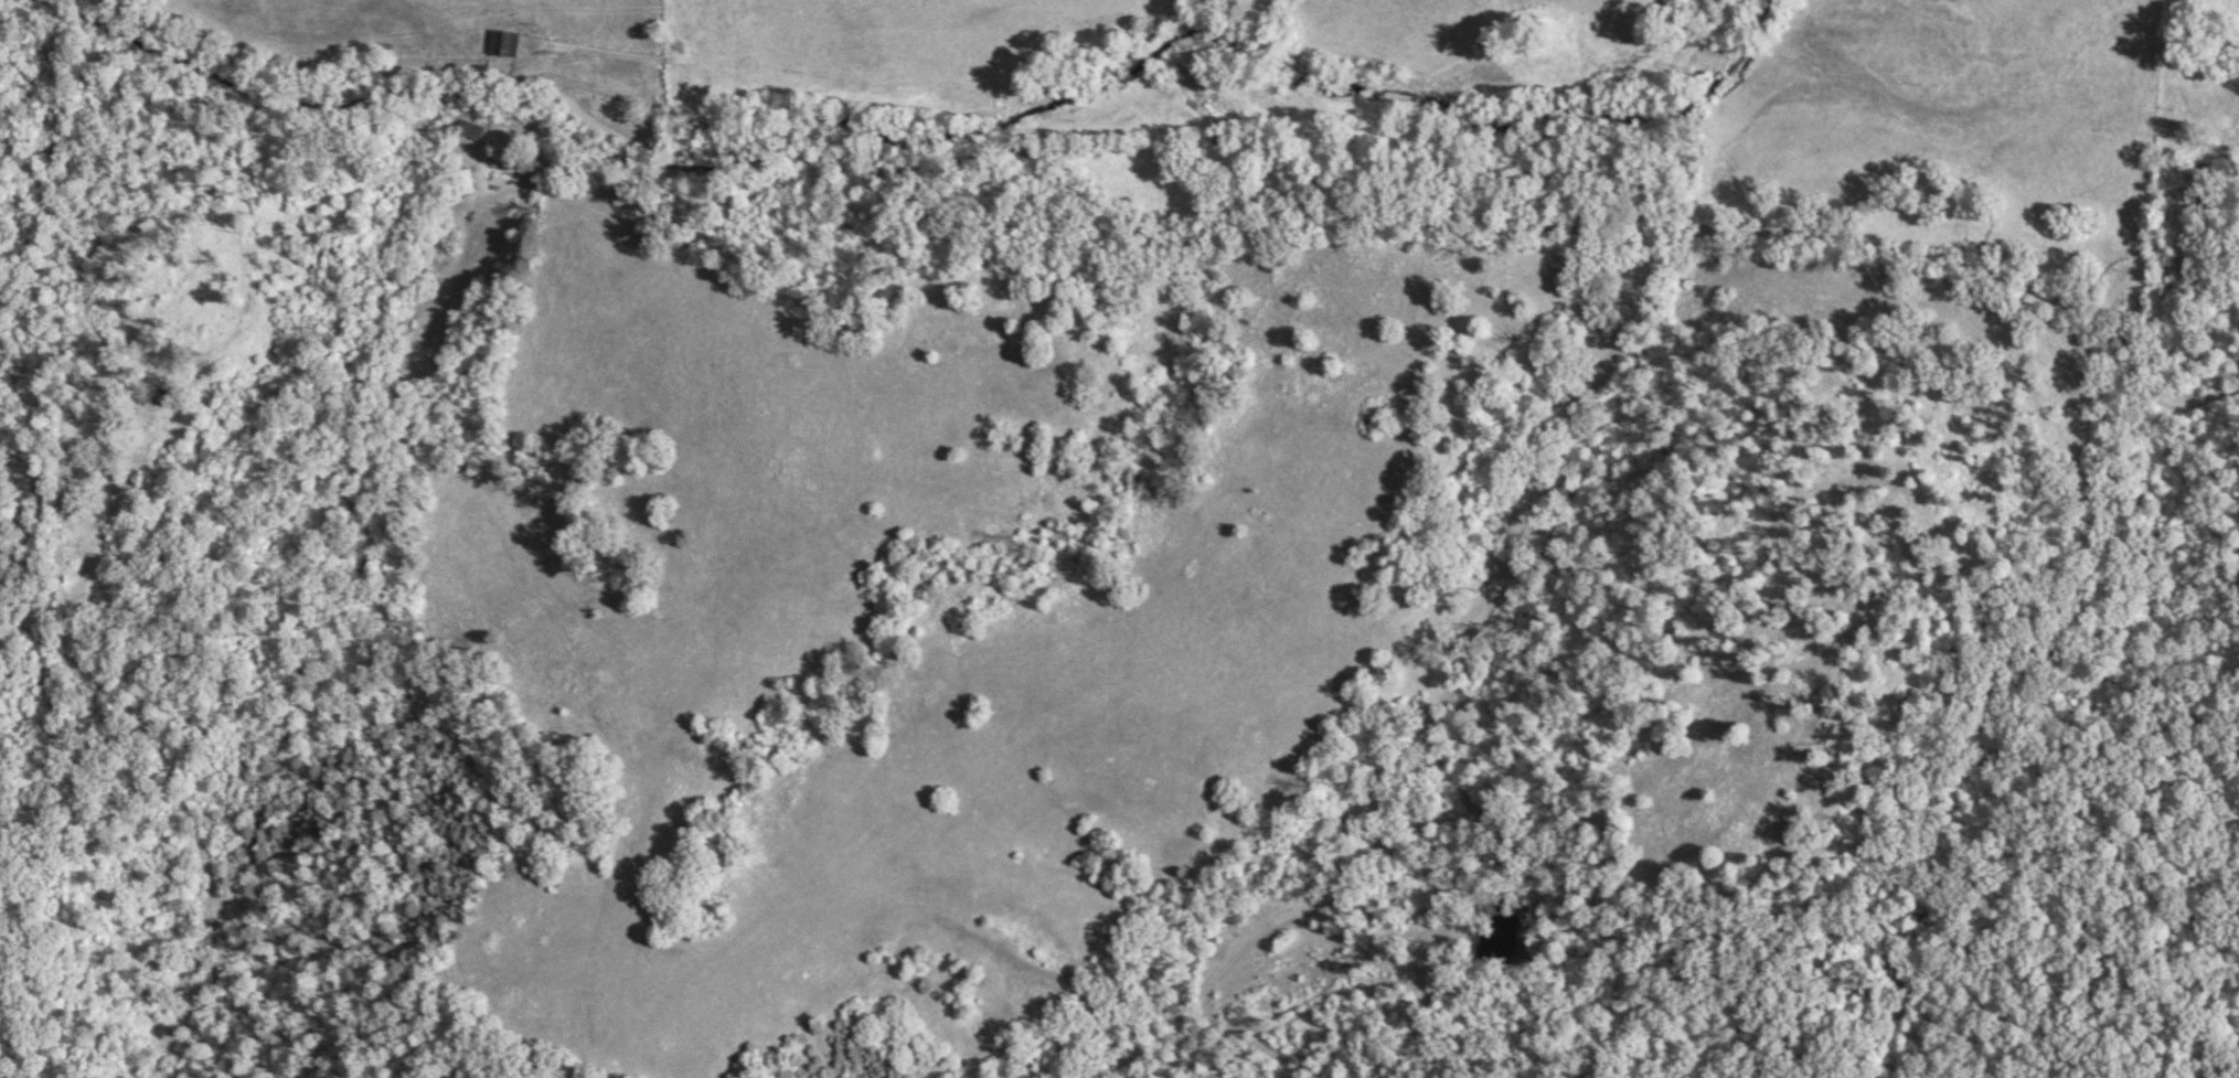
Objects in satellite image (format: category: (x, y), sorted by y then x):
building: (505, 44)
building: (463, 183)
building: (2185, 205)
road: (1172, 216)

